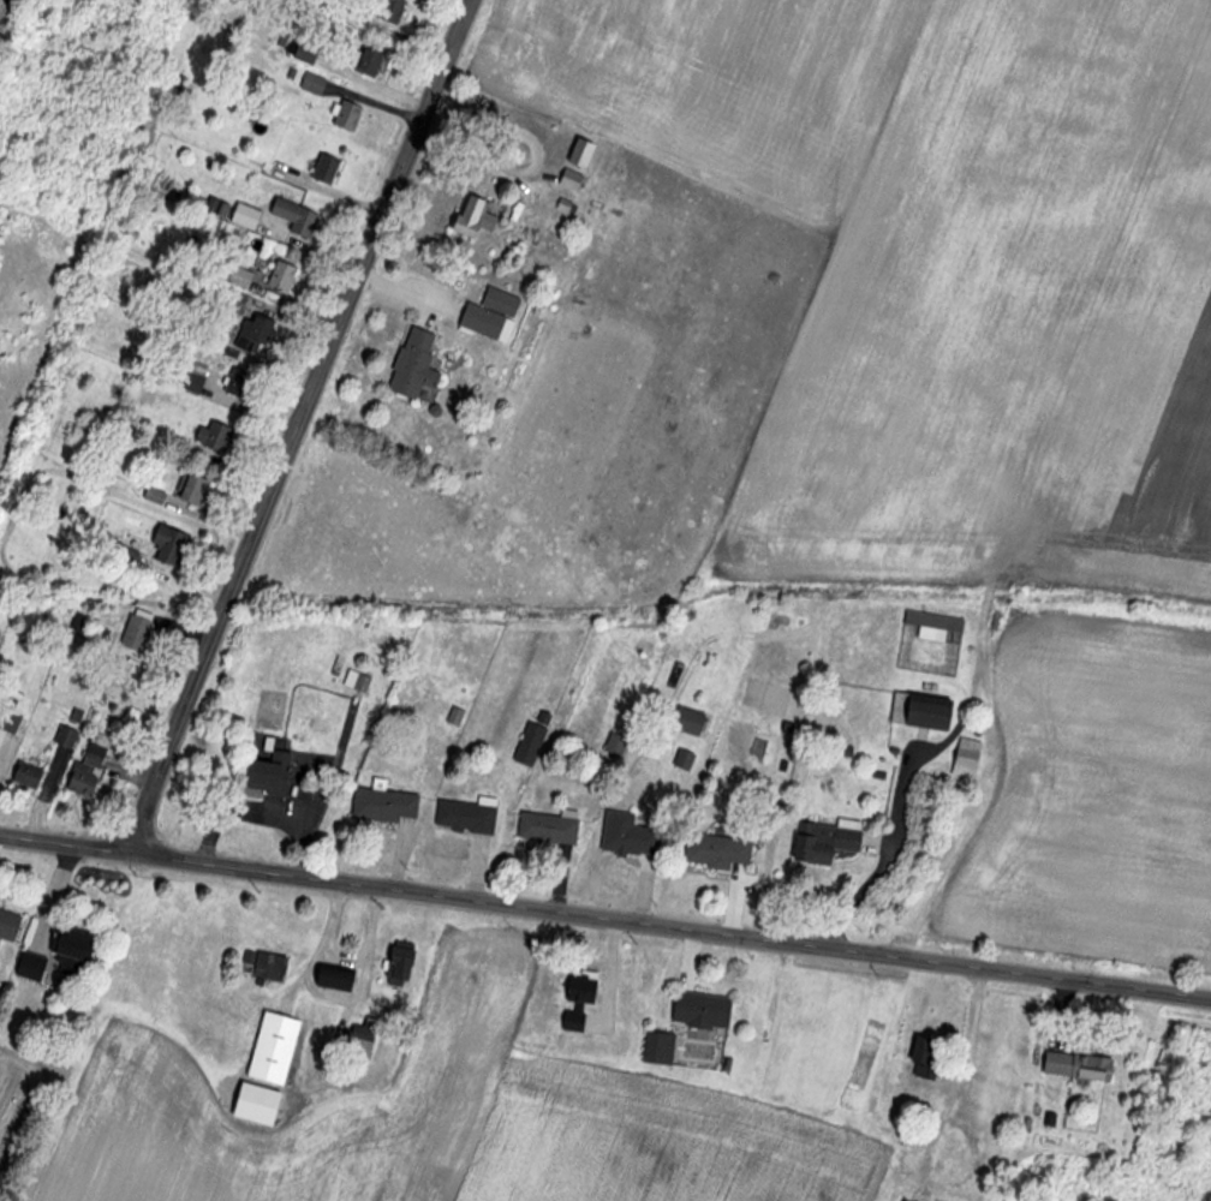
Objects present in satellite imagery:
building: (390, 12)
building: (300, 52)
building: (366, 62)
building: (312, 84)
building: (345, 116)
building: (579, 154)
building: (324, 169)
building: (569, 180)
building: (215, 209)
building: (244, 217)
building: (294, 219)
building: (471, 219)
building: (279, 282)
building: (490, 316)
building: (249, 353)
building: (413, 366)
road: (293, 424)
building: (214, 437)
building: (191, 491)
building: (163, 548)
building: (932, 626)
building: (136, 632)
building: (356, 682)
building: (919, 712)
building: (8, 721)
building: (686, 721)
building: (65, 739)
building: (531, 741)
building: (965, 759)
building: (682, 760)
building: (85, 770)
building: (266, 775)
building: (26, 777)
building: (383, 807)
building: (465, 817)
building: (548, 829)
building: (630, 836)
building: (824, 842)
building: (716, 853)
road: (604, 915)
building: (7, 926)
building: (70, 949)
building: (399, 966)
building: (266, 967)
building: (32, 970)
building: (334, 976)
road: (327, 998)
building: (577, 999)
building: (700, 1010)
building: (272, 1047)
building: (925, 1058)
building: (1076, 1065)
building: (249, 1106)
crop: (451, 1145)
building: (948, 1146)

